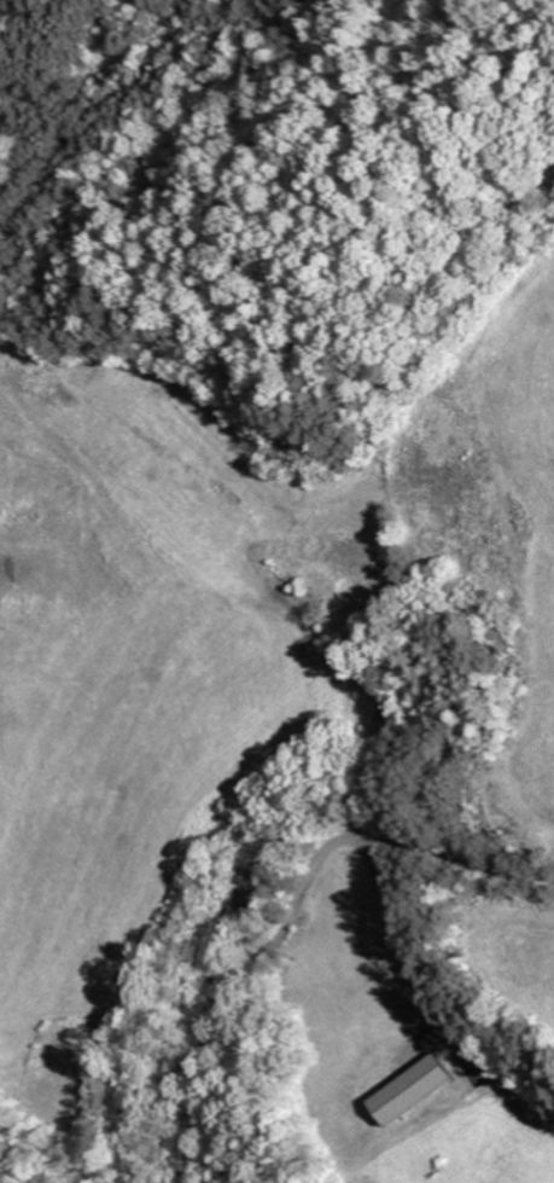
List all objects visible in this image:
road: (299, 912)
building: (415, 1088)

